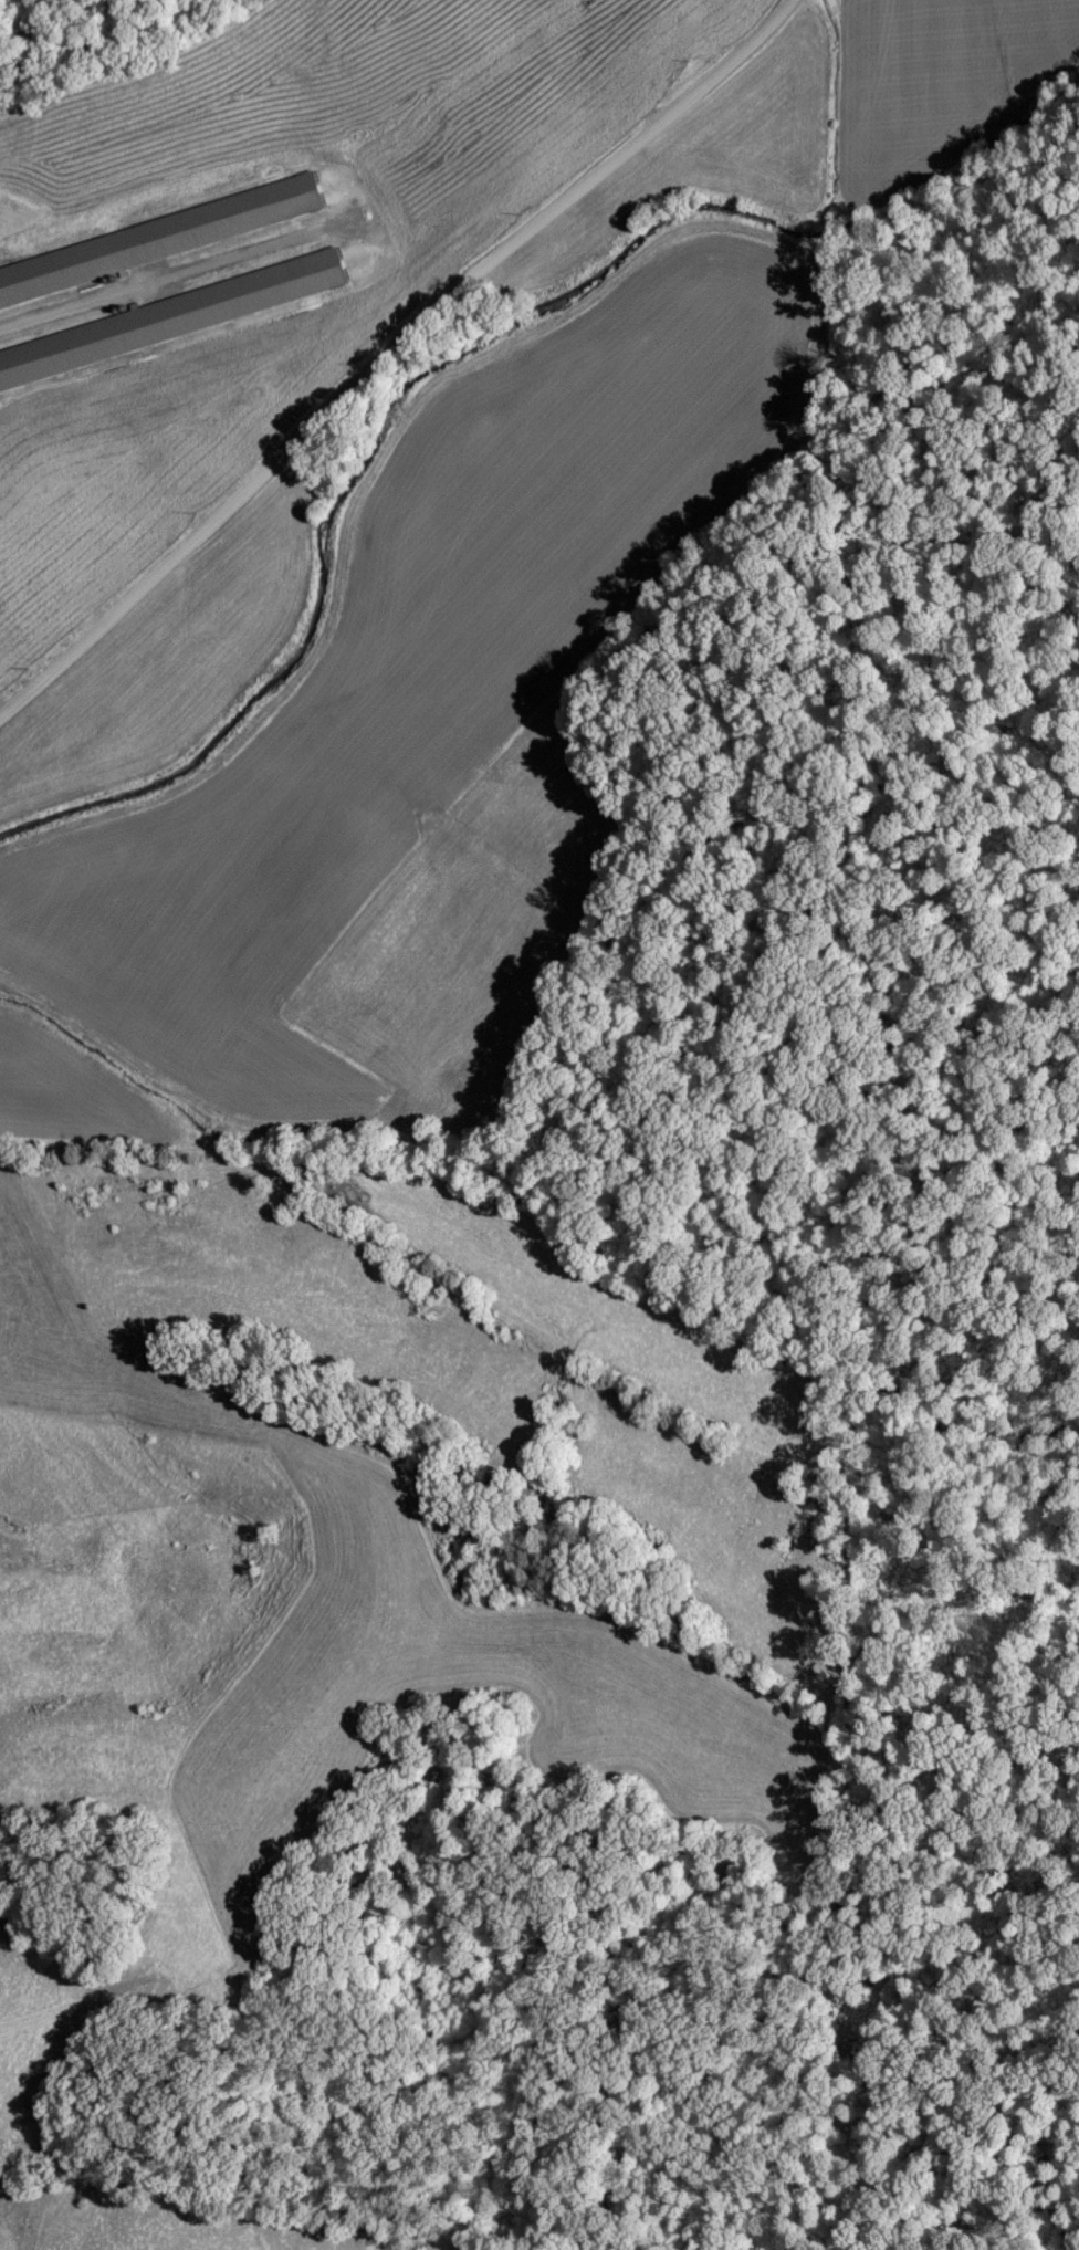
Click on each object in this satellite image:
building: (597, 8)
building: (649, 50)
building: (160, 239)
building: (171, 318)
road: (386, 348)

